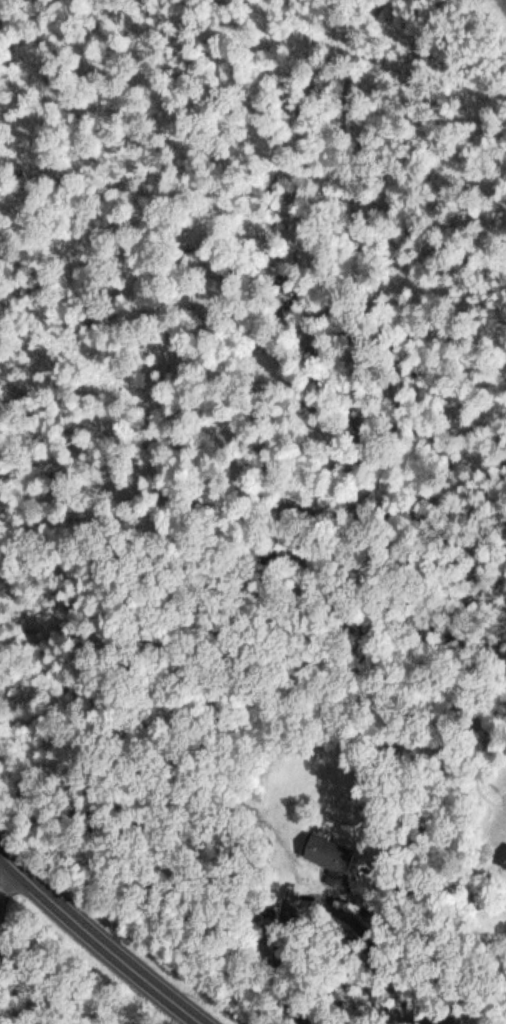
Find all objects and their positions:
building: (330, 855)
building: (503, 859)
road: (2, 877)
road: (105, 941)

